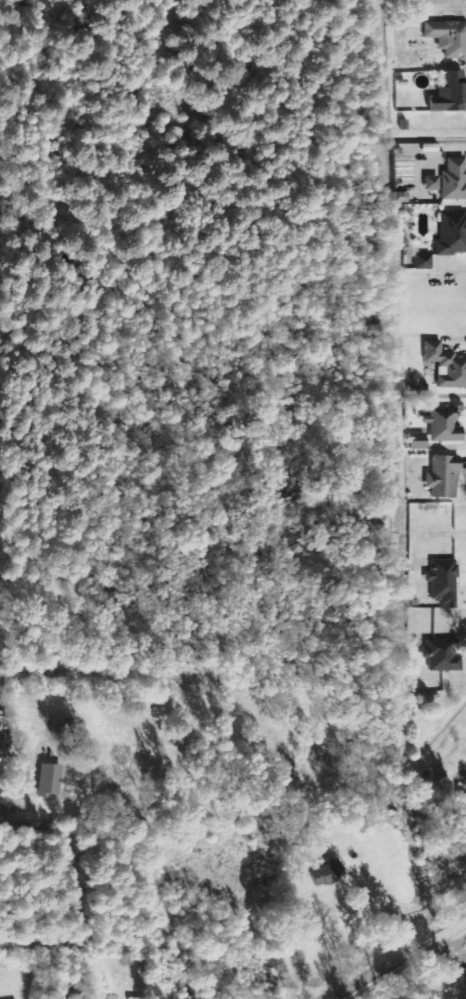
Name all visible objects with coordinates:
building: (449, 38)
building: (451, 94)
building: (454, 181)
building: (433, 184)
building: (452, 235)
building: (424, 261)
building: (447, 366)
building: (444, 427)
building: (444, 477)
building: (444, 583)
building: (443, 656)
building: (51, 781)
road: (0, 808)
building: (328, 874)
road: (396, 959)

